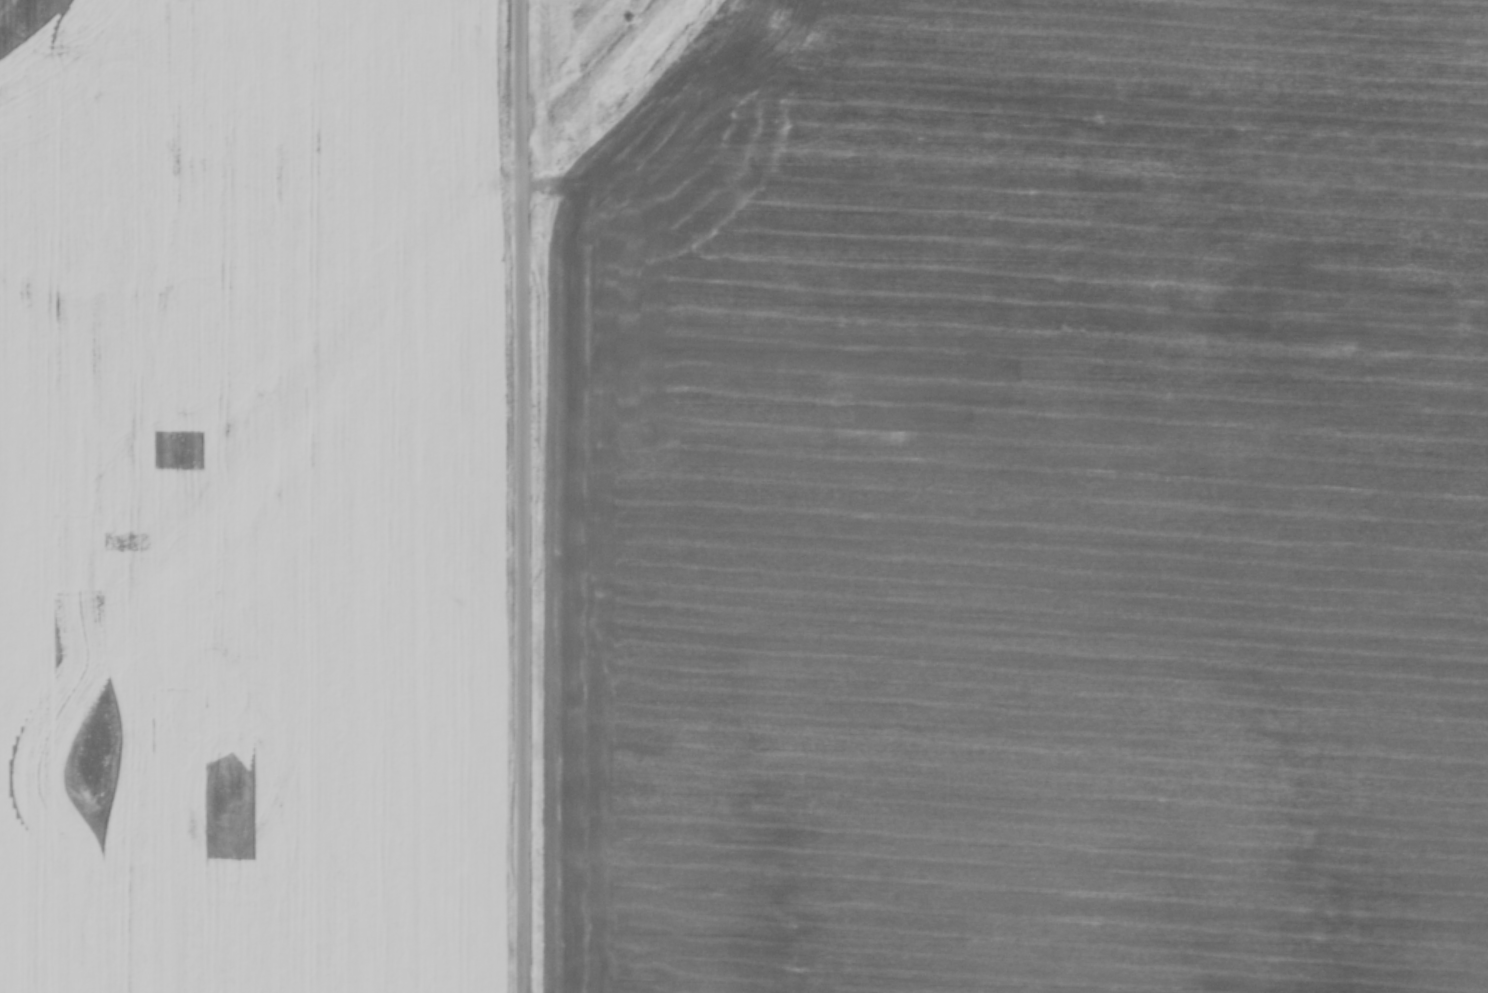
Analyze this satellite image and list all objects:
road: (529, 496)

